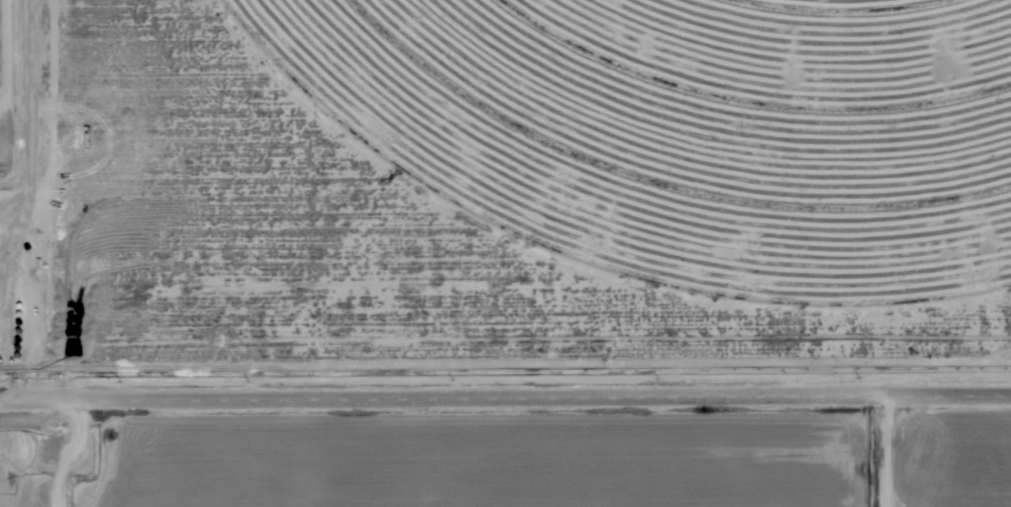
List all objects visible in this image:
crop: (5, 37)
crop: (694, 128)
road: (31, 201)
road: (505, 402)
road: (66, 452)
road: (879, 453)
crop: (184, 461)

